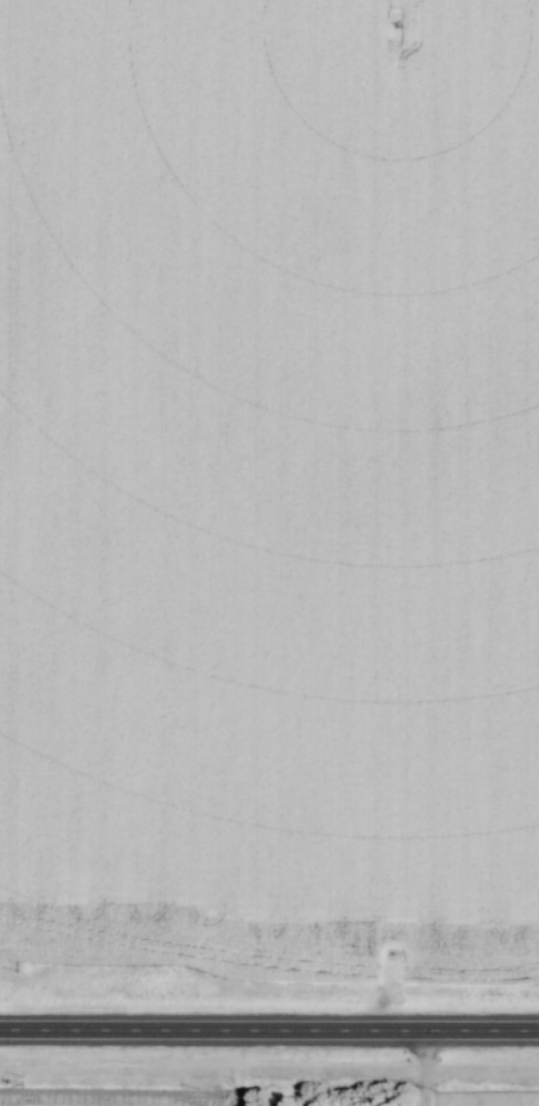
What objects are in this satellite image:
road: (268, 1032)
road: (429, 1069)
crop: (111, 1095)

